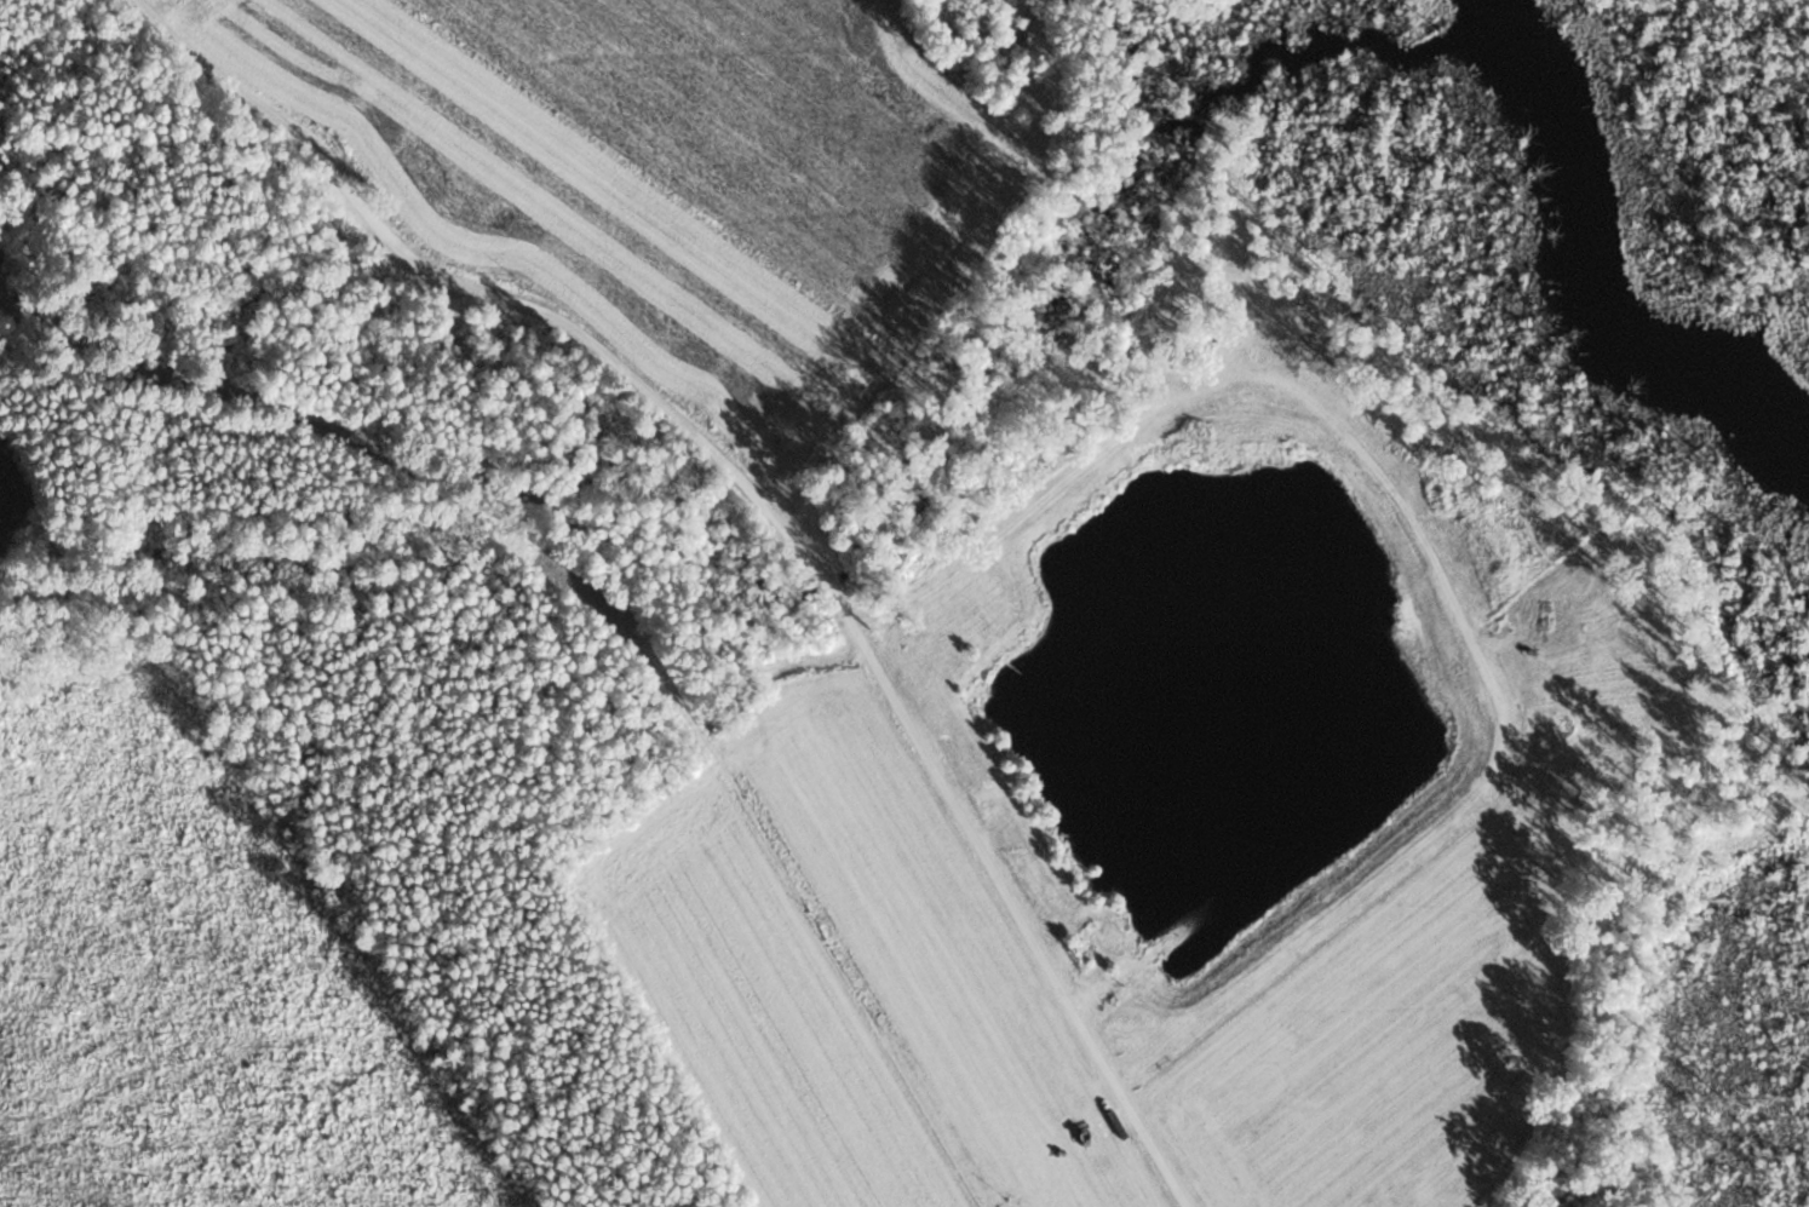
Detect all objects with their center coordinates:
road: (763, 510)

